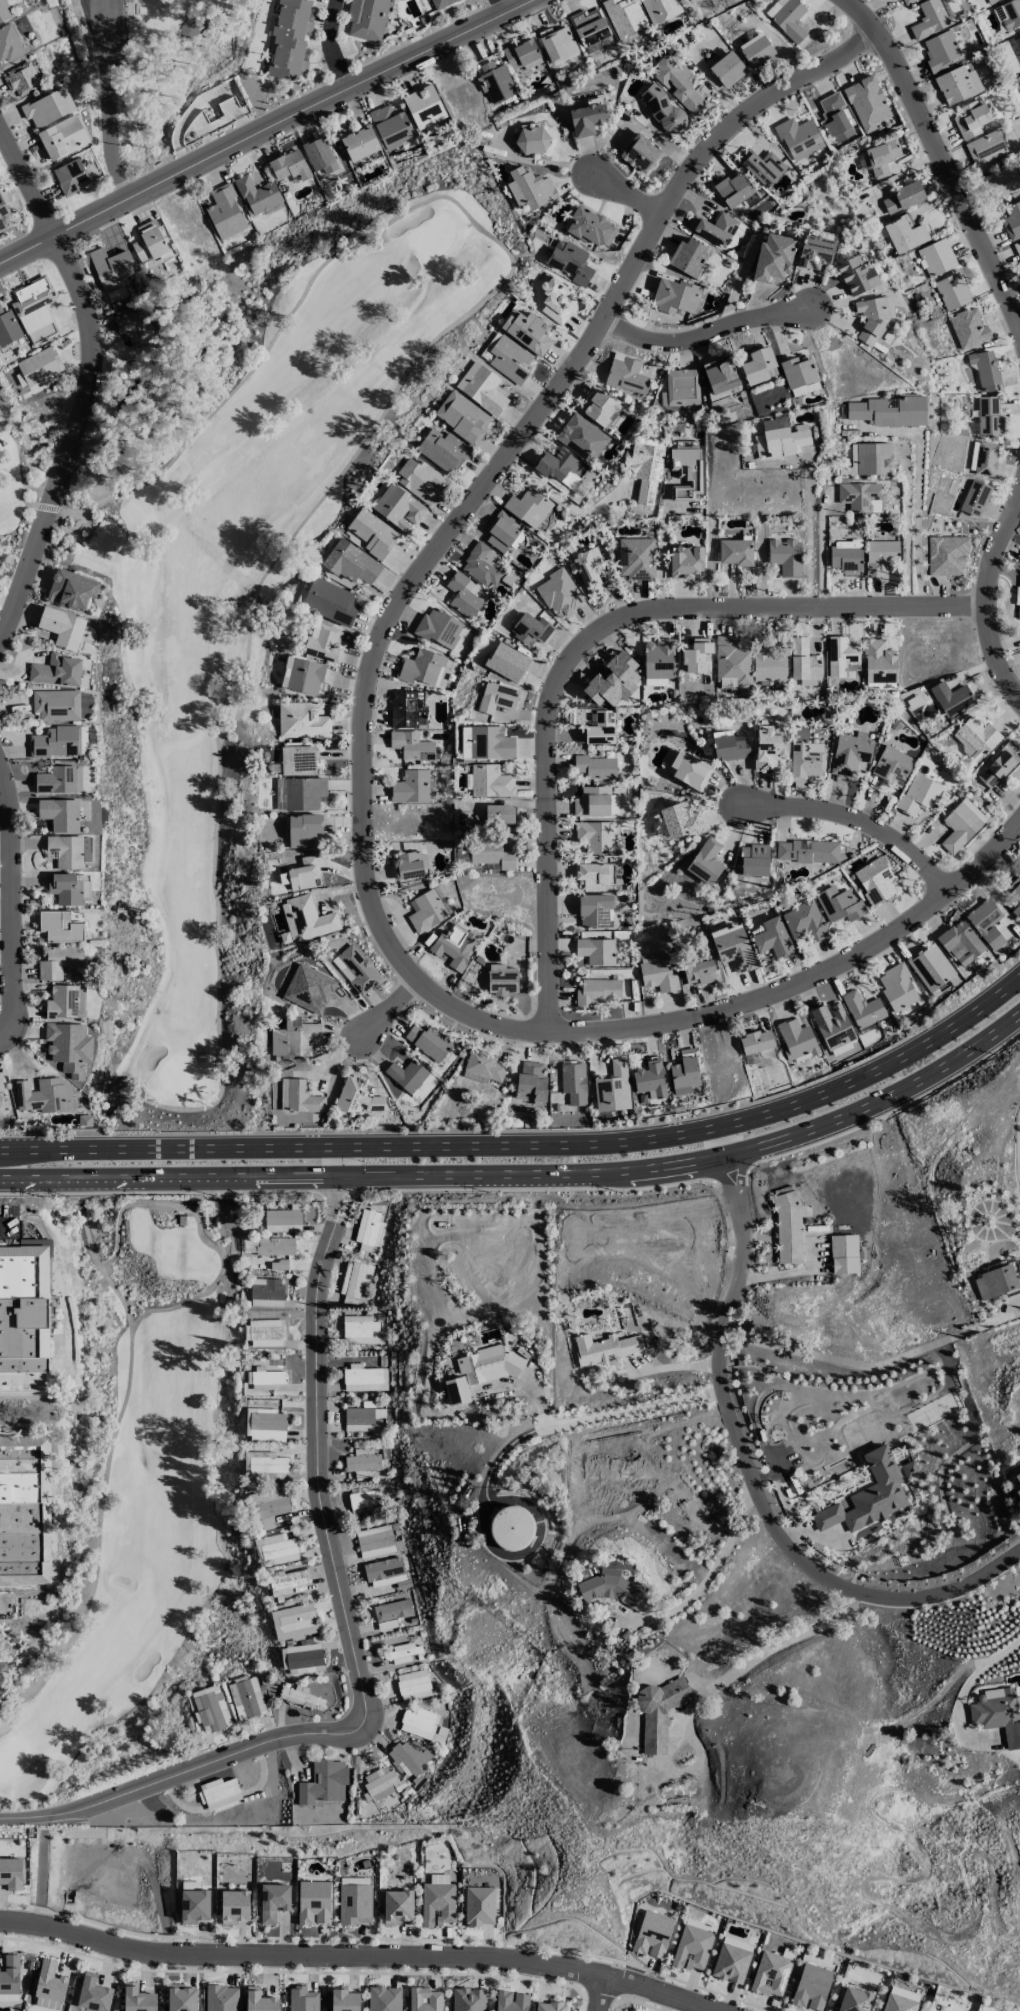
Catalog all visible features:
building: (903, 1)
building: (991, 1)
building: (440, 3)
road: (502, 5)
building: (660, 9)
building: (4, 11)
building: (1007, 14)
building: (624, 16)
building: (787, 17)
building: (366, 18)
building: (929, 19)
parking lot: (105, 25)
building: (589, 26)
building: (189, 30)
building: (290, 39)
building: (1018, 40)
road: (331, 42)
building: (8, 43)
building: (558, 44)
building: (756, 49)
building: (940, 50)
building: (521, 54)
building: (727, 68)
park: (147, 70)
building: (21, 78)
building: (495, 82)
building: (677, 84)
building: (957, 84)
road: (107, 101)
building: (866, 102)
building: (424, 106)
building: (48, 107)
building: (662, 108)
building: (586, 117)
building: (834, 117)
building: (971, 117)
road: (262, 126)
building: (391, 126)
building: (63, 137)
building: (798, 137)
building: (532, 140)
building: (359, 142)
building: (985, 147)
building: (640, 153)
building: (319, 155)
building: (881, 157)
building: (289, 166)
building: (761, 166)
road: (947, 168)
building: (71, 177)
building: (1000, 181)
building: (530, 188)
building: (735, 190)
building: (257, 195)
road: (627, 196)
building: (903, 196)
building: (225, 212)
building: (4, 217)
building: (1012, 219)
building: (591, 227)
building: (714, 228)
building: (905, 234)
building: (150, 243)
building: (1017, 247)
building: (815, 252)
building: (689, 256)
building: (773, 257)
building: (936, 257)
building: (570, 261)
building: (111, 267)
building: (856, 275)
building: (951, 291)
building: (674, 296)
building: (554, 299)
building: (35, 309)
building: (872, 317)
building: (135, 325)
building: (8, 327)
building: (968, 327)
building: (527, 331)
road: (700, 333)
building: (506, 357)
building: (757, 365)
building: (39, 366)
building: (985, 369)
building: (798, 371)
building: (720, 375)
building: (626, 376)
road: (86, 382)
building: (481, 387)
building: (680, 387)
building: (805, 388)
building: (599, 406)
building: (889, 410)
building: (988, 415)
building: (462, 416)
building: (581, 437)
building: (780, 437)
park: (24, 449)
building: (443, 449)
building: (983, 457)
building: (870, 458)
road: (27, 461)
building: (556, 464)
building: (645, 470)
building: (686, 473)
building: (420, 479)
building: (860, 496)
building: (972, 497)
road: (562, 499)
building: (528, 506)
building: (398, 507)
road: (916, 519)
building: (371, 532)
building: (501, 532)
road: (906, 536)
road: (808, 538)
building: (735, 551)
road: (659, 552)
building: (880, 555)
building: (946, 555)
building: (786, 556)
building: (846, 556)
building: (636, 558)
building: (685, 561)
road: (821, 561)
building: (351, 562)
building: (482, 564)
building: (588, 570)
building: (71, 589)
building: (559, 593)
building: (463, 595)
road: (981, 596)
building: (1017, 599)
building: (329, 601)
building: (62, 627)
building: (530, 628)
building: (441, 629)
road: (586, 641)
building: (323, 642)
building: (696, 654)
building: (841, 656)
building: (658, 661)
building: (507, 662)
building: (731, 662)
building: (803, 662)
building: (879, 662)
building: (768, 664)
building: (421, 667)
building: (57, 670)
building: (302, 675)
building: (612, 680)
building: (496, 697)
building: (951, 698)
road: (364, 702)
building: (56, 704)
building: (407, 708)
building: (303, 720)
building: (600, 728)
building: (975, 737)
building: (56, 742)
building: (487, 743)
building: (411, 745)
building: (730, 747)
building: (769, 749)
building: (849, 753)
building: (297, 759)
building: (806, 759)
building: (892, 765)
building: (999, 765)
building: (595, 767)
building: (692, 772)
building: (59, 780)
building: (490, 781)
building: (411, 786)
building: (299, 793)
building: (920, 794)
building: (595, 802)
building: (59, 814)
building: (499, 814)
road: (851, 817)
building: (680, 820)
building: (961, 824)
building: (303, 830)
building: (595, 835)
building: (807, 850)
building: (65, 851)
building: (491, 854)
road: (980, 854)
park: (219, 859)
building: (754, 860)
building: (705, 861)
building: (407, 866)
building: (303, 873)
building: (610, 873)
building: (590, 874)
building: (875, 880)
building: (65, 888)
building: (1015, 894)
road: (11, 900)
building: (839, 904)
building: (426, 910)
building: (594, 910)
building: (306, 918)
building: (804, 921)
building: (985, 922)
building: (59, 926)
building: (772, 937)
building: (960, 942)
building: (454, 945)
building: (733, 947)
building: (596, 951)
building: (59, 961)
building: (930, 966)
building: (356, 968)
building: (657, 972)
building: (699, 972)
building: (502, 979)
building: (897, 987)
building: (596, 991)
building: (66, 1002)
road: (387, 1008)
building: (863, 1009)
building: (832, 1025)
building: (294, 1037)
building: (796, 1040)
building: (428, 1041)
building: (756, 1041)
building: (70, 1048)
building: (482, 1067)
building: (685, 1072)
building: (407, 1074)
building: (650, 1079)
building: (0, 1080)
building: (531, 1082)
building: (573, 1082)
building: (613, 1088)
building: (39, 1095)
building: (299, 1096)
building: (357, 1097)
road: (887, 1109)
road: (530, 1143)
road: (1018, 1144)
road: (699, 1161)
road: (730, 1174)
road: (172, 1177)
road: (535, 1187)
road: (161, 1191)
road: (339, 1193)
building: (283, 1219)
road: (3, 1225)
building: (788, 1227)
building: (368, 1229)
building: (267, 1246)
building: (844, 1253)
building: (354, 1280)
building: (995, 1281)
building: (266, 1292)
building: (25, 1321)
building: (360, 1329)
building: (265, 1332)
building: (605, 1348)
road: (874, 1365)
road: (667, 1366)
building: (481, 1370)
building: (264, 1378)
building: (364, 1378)
road: (581, 1421)
building: (264, 1424)
road: (316, 1451)
building: (367, 1464)
building: (264, 1465)
building: (908, 1469)
building: (1017, 1477)
road: (755, 1478)
building: (1018, 1492)
building: (868, 1495)
road: (101, 1498)
building: (363, 1500)
building: (267, 1507)
building: (25, 1510)
building: (512, 1528)
storage tank: (512, 1528)
building: (376, 1541)
building: (275, 1549)
road: (710, 1571)
building: (286, 1581)
building: (606, 1585)
building: (641, 1602)
building: (391, 1613)
building: (294, 1621)
building: (402, 1652)
building: (302, 1658)
road: (752, 1658)
building: (413, 1684)
road: (967, 1689)
building: (299, 1696)
building: (246, 1698)
building: (211, 1708)
building: (659, 1712)
building: (997, 1713)
building: (422, 1724)
building: (409, 1758)
road: (182, 1769)
building: (379, 1782)
building: (324, 1783)
building: (219, 1792)
building: (11, 1873)
road: (40, 1880)
building: (354, 1900)
building: (438, 1900)
building: (273, 1901)
building: (313, 1902)
building: (479, 1905)
building: (194, 1906)
building: (234, 1906)
building: (397, 1906)
building: (652, 1934)
building: (737, 1943)
building: (692, 1948)
road: (354, 1955)
building: (730, 1963)
building: (771, 1973)
building: (10, 1975)
building: (49, 1981)
building: (811, 1986)
building: (904, 1992)
building: (93, 1993)
road: (598, 1993)
building: (181, 1997)
building: (138, 1998)
building: (221, 1998)
building: (384, 1998)
building: (344, 1999)
building: (425, 1999)
building: (467, 1999)
building: (259, 2000)
building: (854, 2000)
building: (510, 2001)
building: (899, 2003)
building: (549, 2006)

